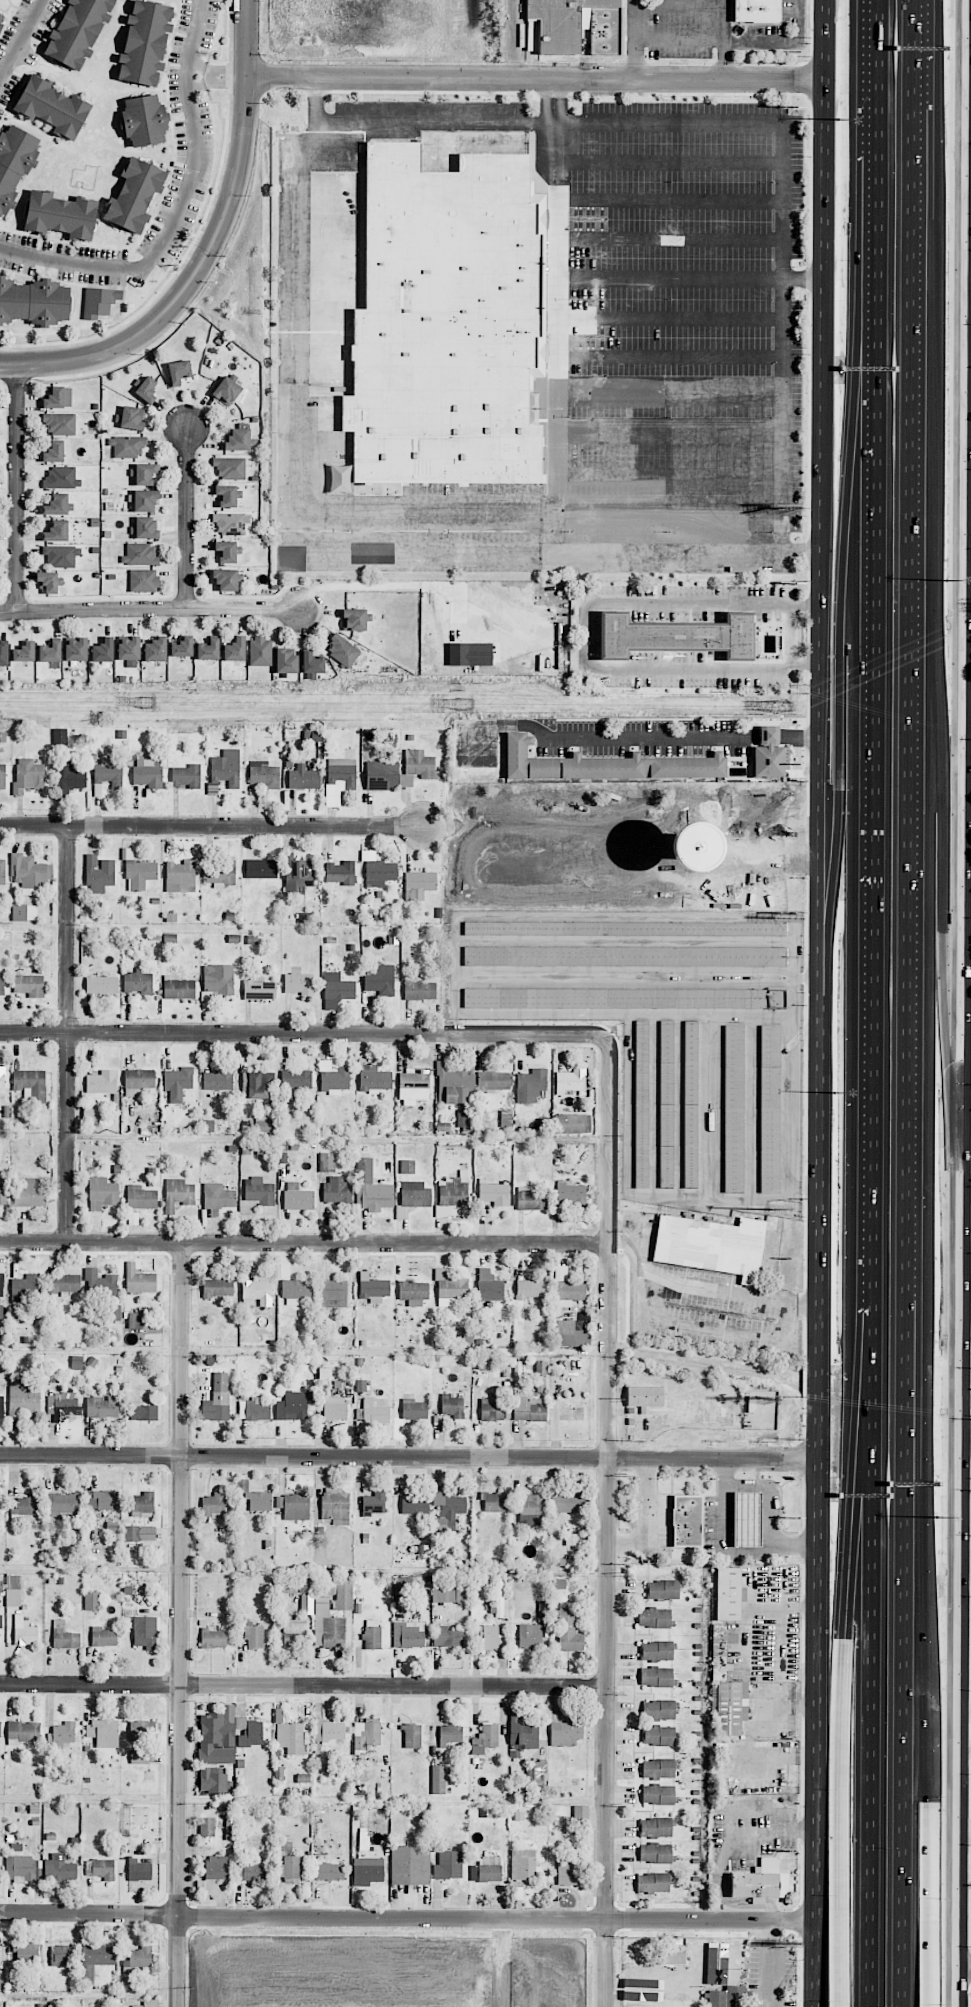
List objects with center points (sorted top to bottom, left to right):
road: (969, 0)
building: (755, 10)
building: (1, 19)
road: (967, 20)
building: (559, 23)
building: (604, 30)
building: (77, 31)
road: (19, 38)
road: (248, 38)
road: (510, 38)
road: (636, 38)
road: (724, 38)
building: (145, 43)
road: (782, 43)
road: (909, 54)
road: (194, 76)
road: (225, 76)
road: (537, 76)
road: (881, 86)
road: (969, 97)
road: (553, 98)
building: (51, 106)
road: (637, 119)
building: (144, 121)
road: (826, 125)
building: (15, 162)
road: (667, 163)
road: (968, 171)
building: (135, 196)
road: (667, 202)
road: (179, 210)
building: (60, 214)
road: (911, 245)
road: (968, 256)
road: (649, 267)
road: (803, 277)
road: (189, 282)
building: (33, 301)
building: (98, 302)
road: (968, 307)
road: (556, 317)
building: (445, 321)
road: (649, 340)
building: (179, 371)
building: (146, 390)
building: (226, 391)
road: (603, 397)
building: (58, 398)
road: (715, 398)
road: (965, 398)
building: (133, 418)
building: (59, 423)
road: (669, 435)
building: (238, 440)
building: (127, 446)
building: (54, 452)
building: (229, 467)
building: (145, 473)
road: (669, 475)
building: (61, 478)
road: (17, 489)
road: (967, 493)
building: (226, 495)
road: (669, 500)
building: (145, 501)
road: (425, 512)
road: (665, 513)
road: (187, 520)
building: (231, 523)
building: (146, 528)
building: (56, 531)
road: (558, 531)
road: (729, 531)
road: (845, 547)
road: (348, 549)
building: (228, 551)
road: (691, 553)
building: (139, 555)
building: (61, 556)
building: (143, 581)
building: (49, 582)
road: (825, 587)
road: (150, 610)
building: (355, 619)
road: (590, 634)
building: (674, 636)
building: (182, 647)
building: (128, 648)
building: (76, 650)
building: (155, 650)
building: (208, 650)
building: (234, 650)
building: (103, 651)
building: (260, 651)
building: (343, 651)
building: (24, 652)
building: (50, 652)
building: (4, 653)
building: (285, 661)
building: (312, 663)
power tower: (148, 702)
power tower: (465, 704)
power tower: (782, 706)
road: (966, 715)
building: (59, 736)
road: (609, 736)
road: (769, 736)
road: (801, 736)
building: (769, 755)
road: (938, 760)
building: (605, 764)
building: (417, 767)
building: (226, 768)
building: (342, 772)
building: (67, 773)
building: (108, 773)
building: (148, 773)
building: (264, 774)
building: (28, 775)
building: (381, 775)
building: (2, 776)
building: (186, 776)
building: (303, 778)
road: (876, 813)
road: (212, 825)
building: (261, 868)
building: (378, 870)
building: (2, 872)
building: (139, 872)
building: (220, 873)
building: (341, 873)
building: (99, 874)
building: (299, 876)
building: (179, 877)
building: (24, 912)
building: (625, 928)
road: (960, 946)
building: (623, 956)
road: (965, 976)
building: (218, 979)
building: (378, 979)
building: (138, 982)
building: (299, 983)
building: (1, 984)
building: (101, 984)
building: (29, 985)
building: (178, 988)
building: (258, 989)
building: (337, 989)
building: (420, 990)
road: (965, 993)
building: (624, 998)
road: (68, 1033)
road: (305, 1033)
building: (2, 1077)
building: (333, 1078)
building: (374, 1078)
building: (491, 1078)
building: (139, 1079)
building: (218, 1080)
building: (570, 1080)
building: (295, 1081)
building: (455, 1081)
building: (101, 1082)
building: (177, 1083)
building: (30, 1084)
building: (259, 1085)
building: (530, 1085)
building: (413, 1086)
building: (641, 1103)
building: (666, 1104)
building: (690, 1104)
building: (733, 1108)
building: (769, 1108)
building: (90, 1113)
road: (965, 1114)
building: (465, 1118)
building: (572, 1123)
building: (265, 1124)
road: (965, 1154)
building: (326, 1162)
building: (407, 1167)
building: (371, 1188)
building: (337, 1190)
building: (493, 1192)
building: (2, 1193)
building: (102, 1193)
building: (570, 1193)
building: (178, 1194)
road: (906, 1194)
building: (30, 1195)
building: (256, 1195)
building: (452, 1195)
building: (218, 1196)
building: (141, 1197)
building: (297, 1197)
building: (412, 1197)
building: (531, 1198)
road: (965, 1221)
road: (304, 1241)
building: (710, 1245)
building: (139, 1280)
building: (99, 1283)
building: (1, 1284)
building: (64, 1284)
building: (489, 1286)
building: (372, 1287)
road: (698, 1287)
building: (27, 1288)
building: (217, 1288)
building: (450, 1288)
building: (567, 1288)
building: (531, 1289)
building: (295, 1291)
building: (257, 1292)
building: (413, 1292)
building: (333, 1293)
building: (135, 1320)
road: (716, 1327)
building: (571, 1334)
building: (645, 1397)
building: (23, 1398)
building: (217, 1399)
building: (61, 1404)
building: (751, 1404)
building: (102, 1405)
building: (291, 1406)
building: (453, 1406)
building: (1, 1407)
building: (334, 1408)
building: (528, 1408)
building: (253, 1409)
building: (413, 1409)
building: (491, 1410)
building: (143, 1411)
building: (372, 1414)
road: (965, 1438)
road: (410, 1455)
road: (821, 1465)
building: (102, 1500)
building: (259, 1500)
building: (494, 1501)
building: (569, 1502)
building: (373, 1503)
building: (335, 1504)
building: (414, 1504)
building: (62, 1505)
building: (213, 1505)
building: (293, 1506)
building: (447, 1508)
building: (530, 1509)
road: (648, 1515)
building: (745, 1518)
gas station: (745, 1518)
building: (686, 1520)
road: (608, 1524)
building: (139, 1533)
road: (796, 1541)
road: (755, 1552)
road: (959, 1572)
building: (287, 1584)
building: (662, 1589)
building: (453, 1592)
building: (344, 1593)
building: (728, 1593)
building: (499, 1598)
building: (92, 1600)
building: (327, 1617)
building: (655, 1618)
building: (1, 1620)
road: (179, 1624)
building: (24, 1632)
building: (145, 1632)
building: (295, 1632)
building: (568, 1632)
building: (371, 1634)
building: (408, 1634)
building: (254, 1635)
building: (64, 1636)
building: (530, 1636)
building: (104, 1637)
building: (446, 1637)
building: (490, 1637)
building: (213, 1639)
building: (718, 1645)
building: (657, 1651)
building: (656, 1677)
road: (304, 1684)
road: (791, 1706)
building: (731, 1707)
road: (965, 1709)
building: (658, 1710)
road: (846, 1730)
building: (142, 1731)
road: (873, 1731)
building: (23, 1732)
building: (249, 1732)
building: (328, 1732)
building: (522, 1732)
building: (0, 1733)
building: (63, 1733)
building: (103, 1733)
building: (565, 1733)
building: (366, 1734)
building: (449, 1734)
building: (489, 1735)
building: (658, 1735)
building: (412, 1736)
building: (217, 1737)
road: (931, 1737)
building: (291, 1738)
road: (965, 1751)
building: (139, 1756)
building: (658, 1768)
building: (536, 1775)
building: (438, 1779)
building: (214, 1780)
building: (658, 1794)
building: (581, 1816)
building: (207, 1826)
building: (655, 1827)
building: (655, 1853)
building: (522, 1864)
building: (410, 1865)
building: (448, 1865)
building: (216, 1867)
building: (59, 1868)
building: (100, 1868)
building: (291, 1869)
building: (139, 1870)
building: (487, 1870)
building: (568, 1870)
building: (251, 1871)
building: (329, 1871)
building: (368, 1871)
building: (759, 1881)
building: (653, 1882)
road: (410, 1917)
building: (27, 1954)
building: (61, 1956)
building: (673, 1958)
building: (701, 1958)
building: (137, 1959)
building: (95, 1960)
building: (729, 1963)
road: (966, 1968)
road: (801, 1973)
building: (645, 1986)
building: (727, 1997)
building: (150, 2003)
building: (137, 2006)
building: (638, 2006)

